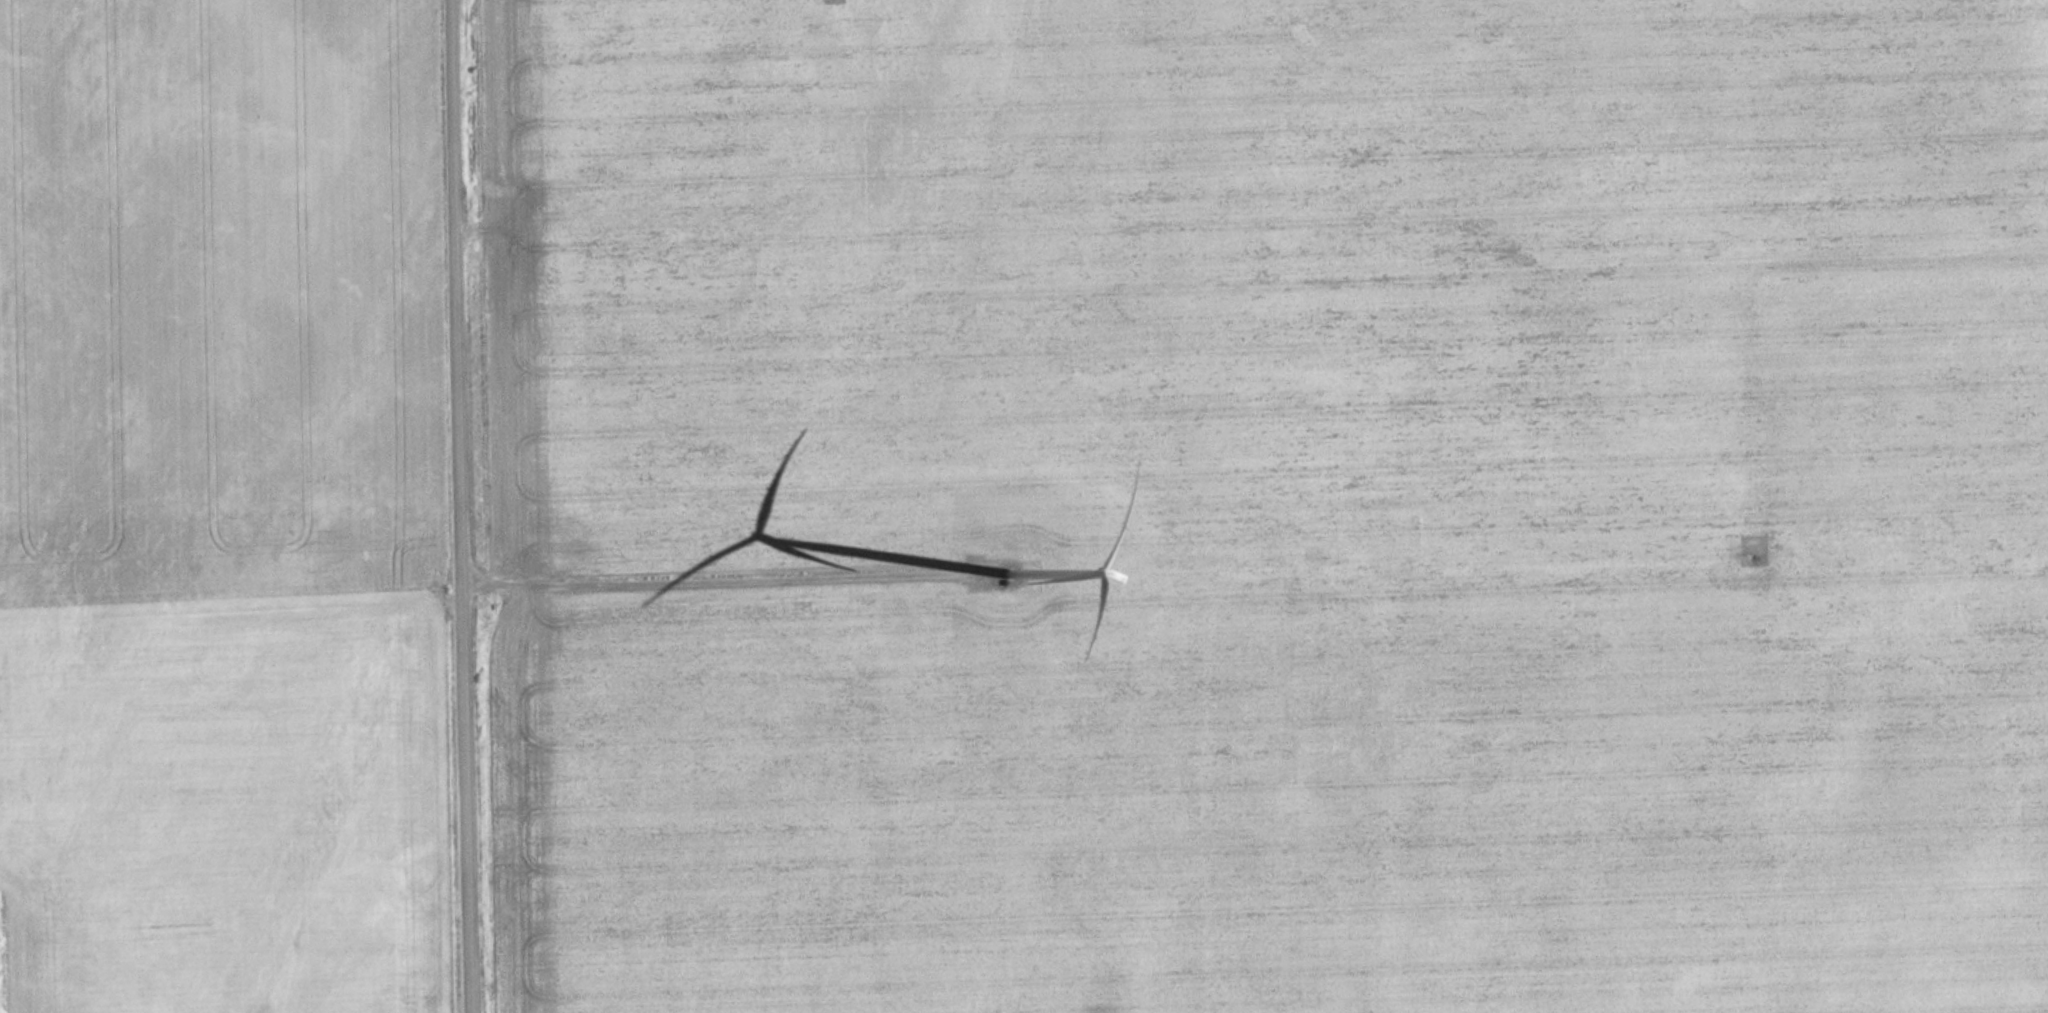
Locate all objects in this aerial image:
road: (461, 506)
road: (712, 574)
wind turbine: (1021, 589)

